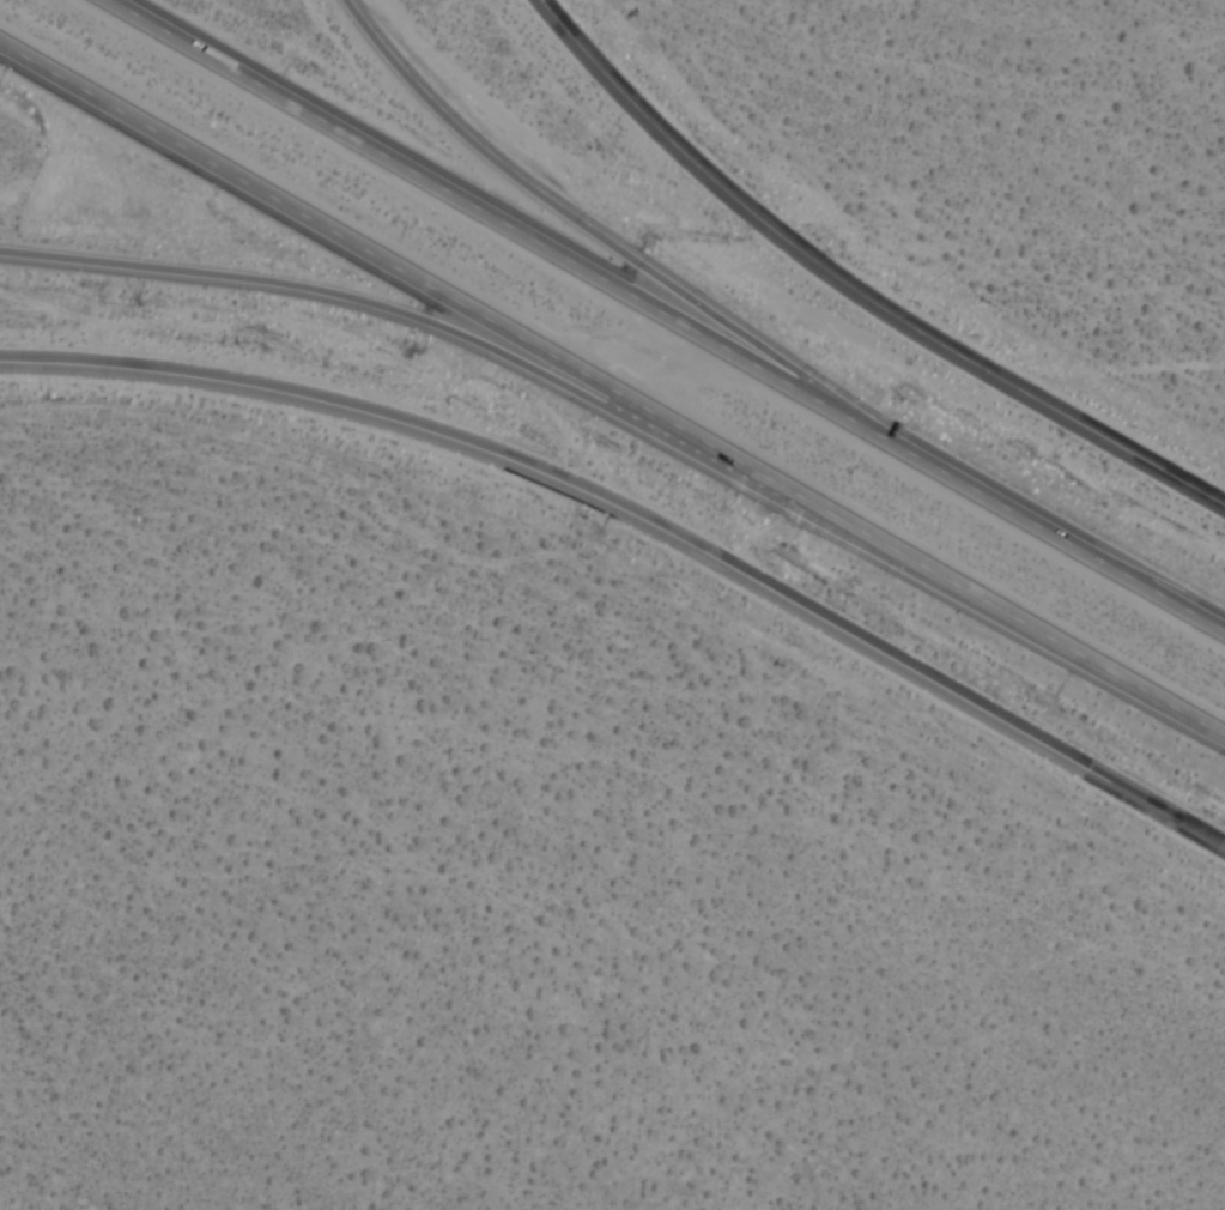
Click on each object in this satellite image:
crop: (1014, 146)
road: (599, 236)
road: (853, 292)
road: (677, 309)
road: (418, 321)
road: (1071, 323)
road: (613, 380)
road: (642, 520)

